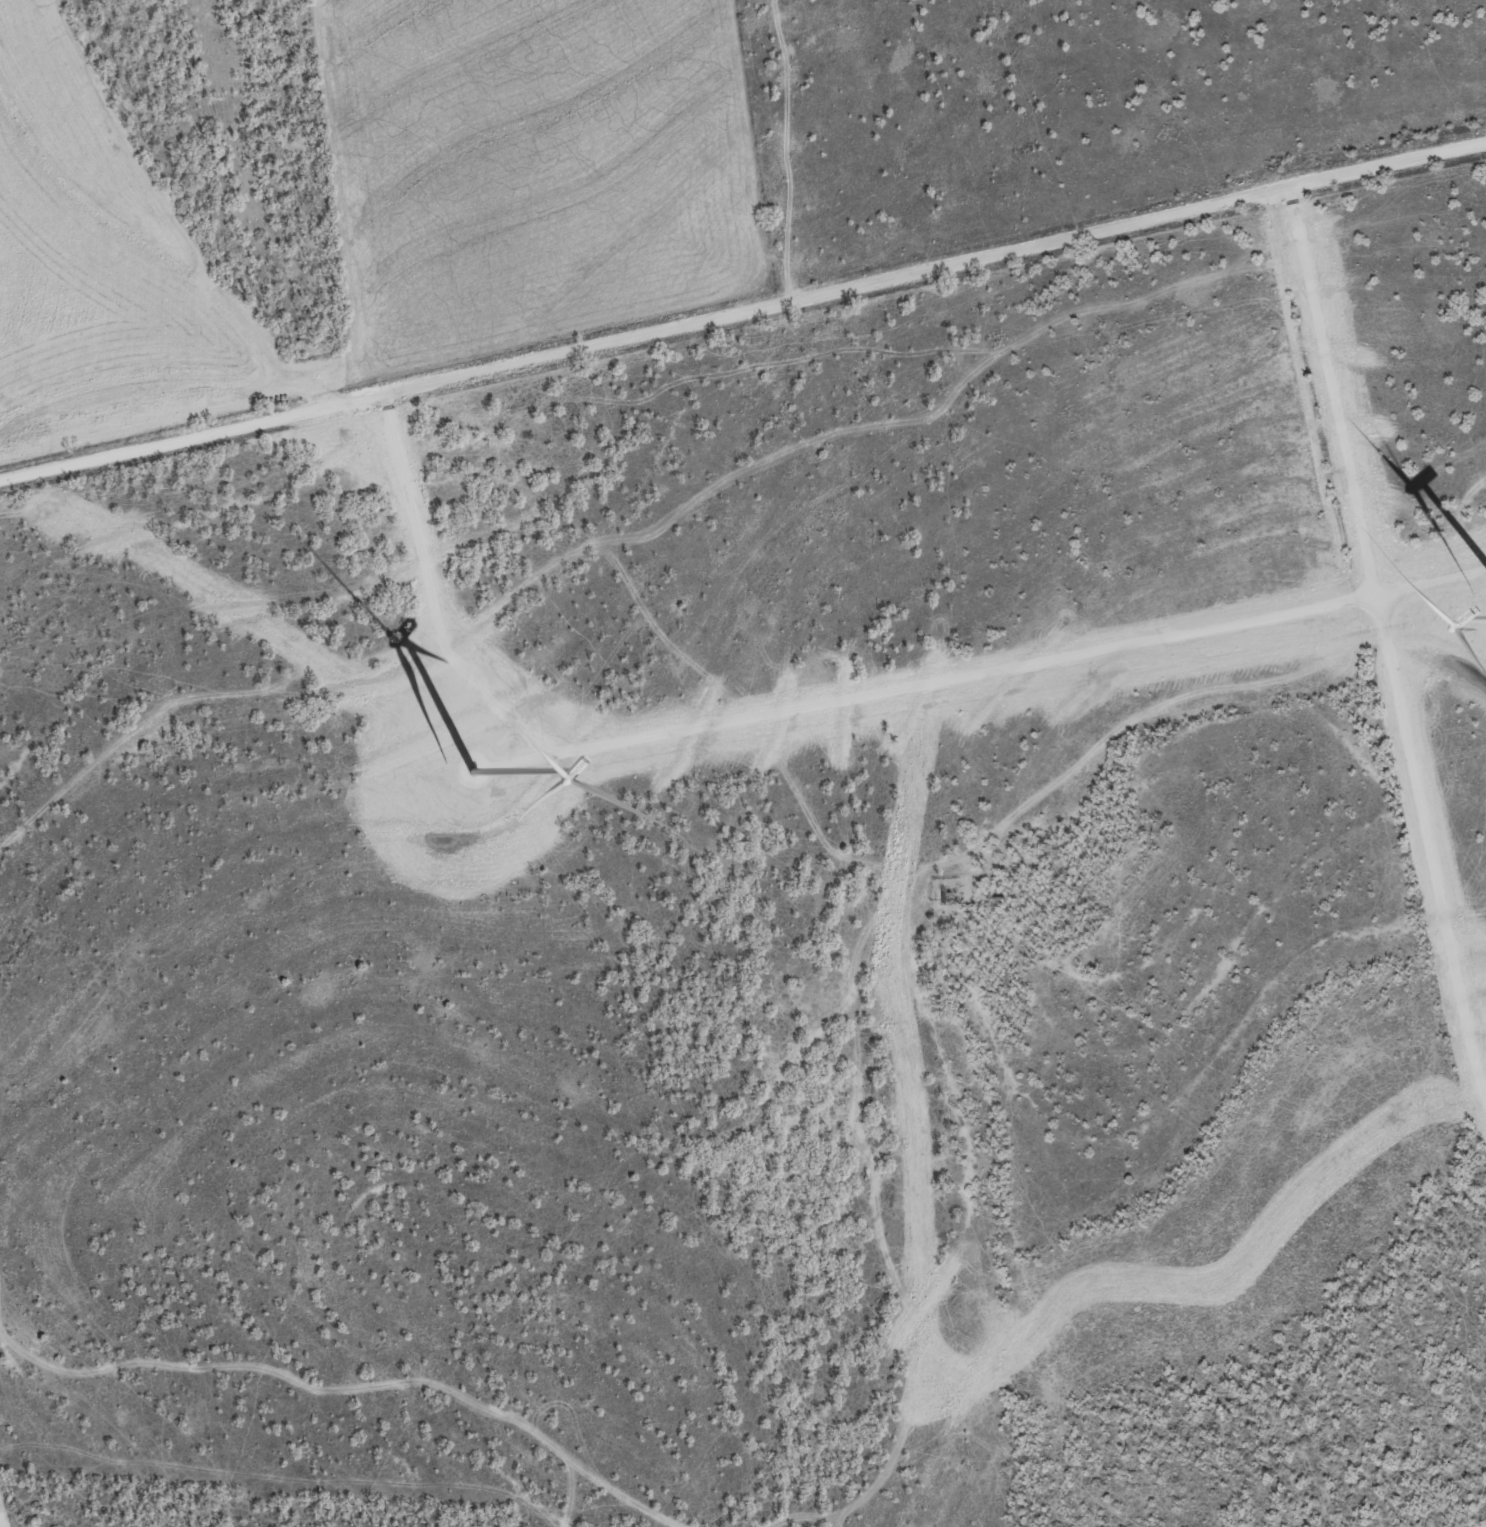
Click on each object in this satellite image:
road: (173, 211)
road: (743, 314)
road: (1332, 391)
road: (816, 703)
road: (529, 761)
wind turbine: (475, 774)
road: (1427, 840)
road: (951, 860)

